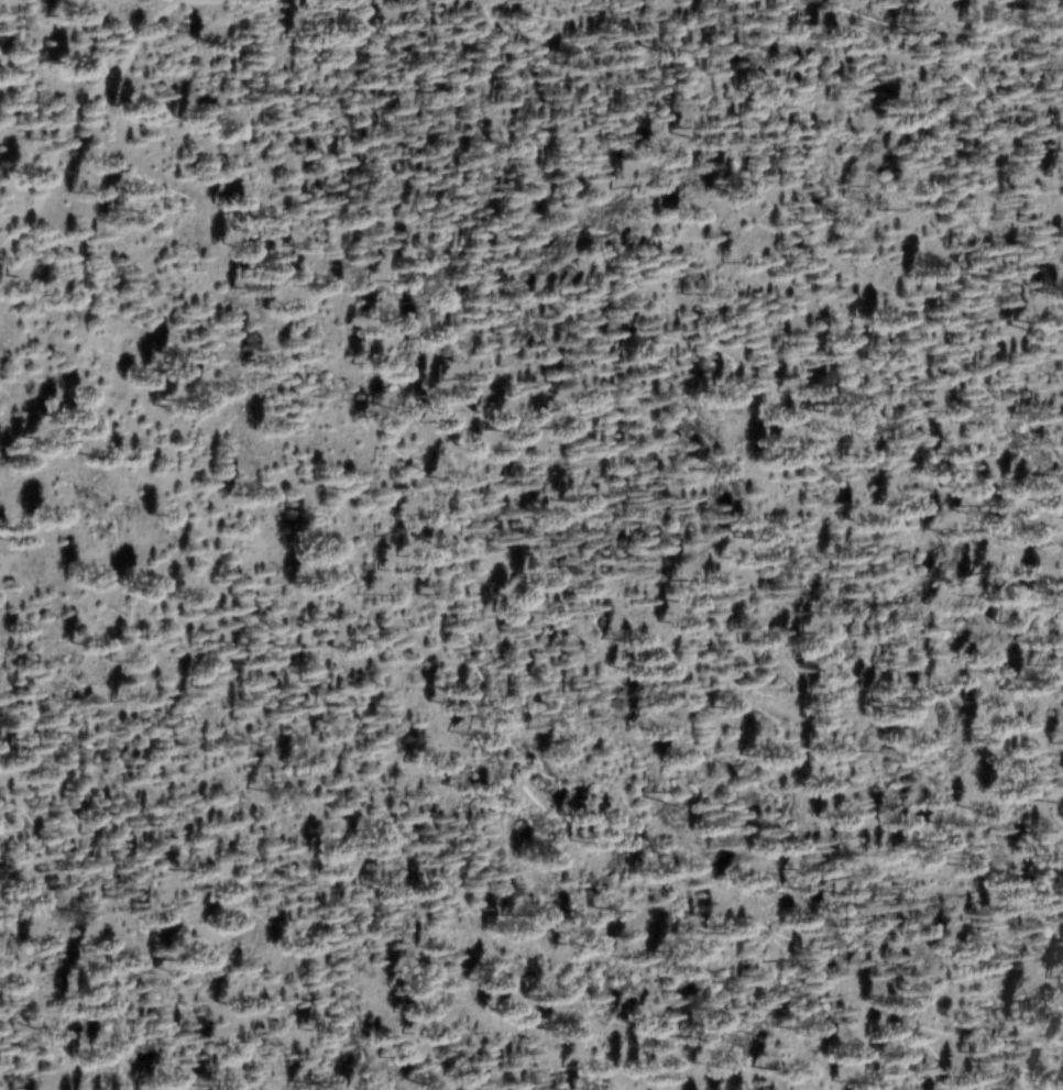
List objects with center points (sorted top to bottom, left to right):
road: (90, 79)

